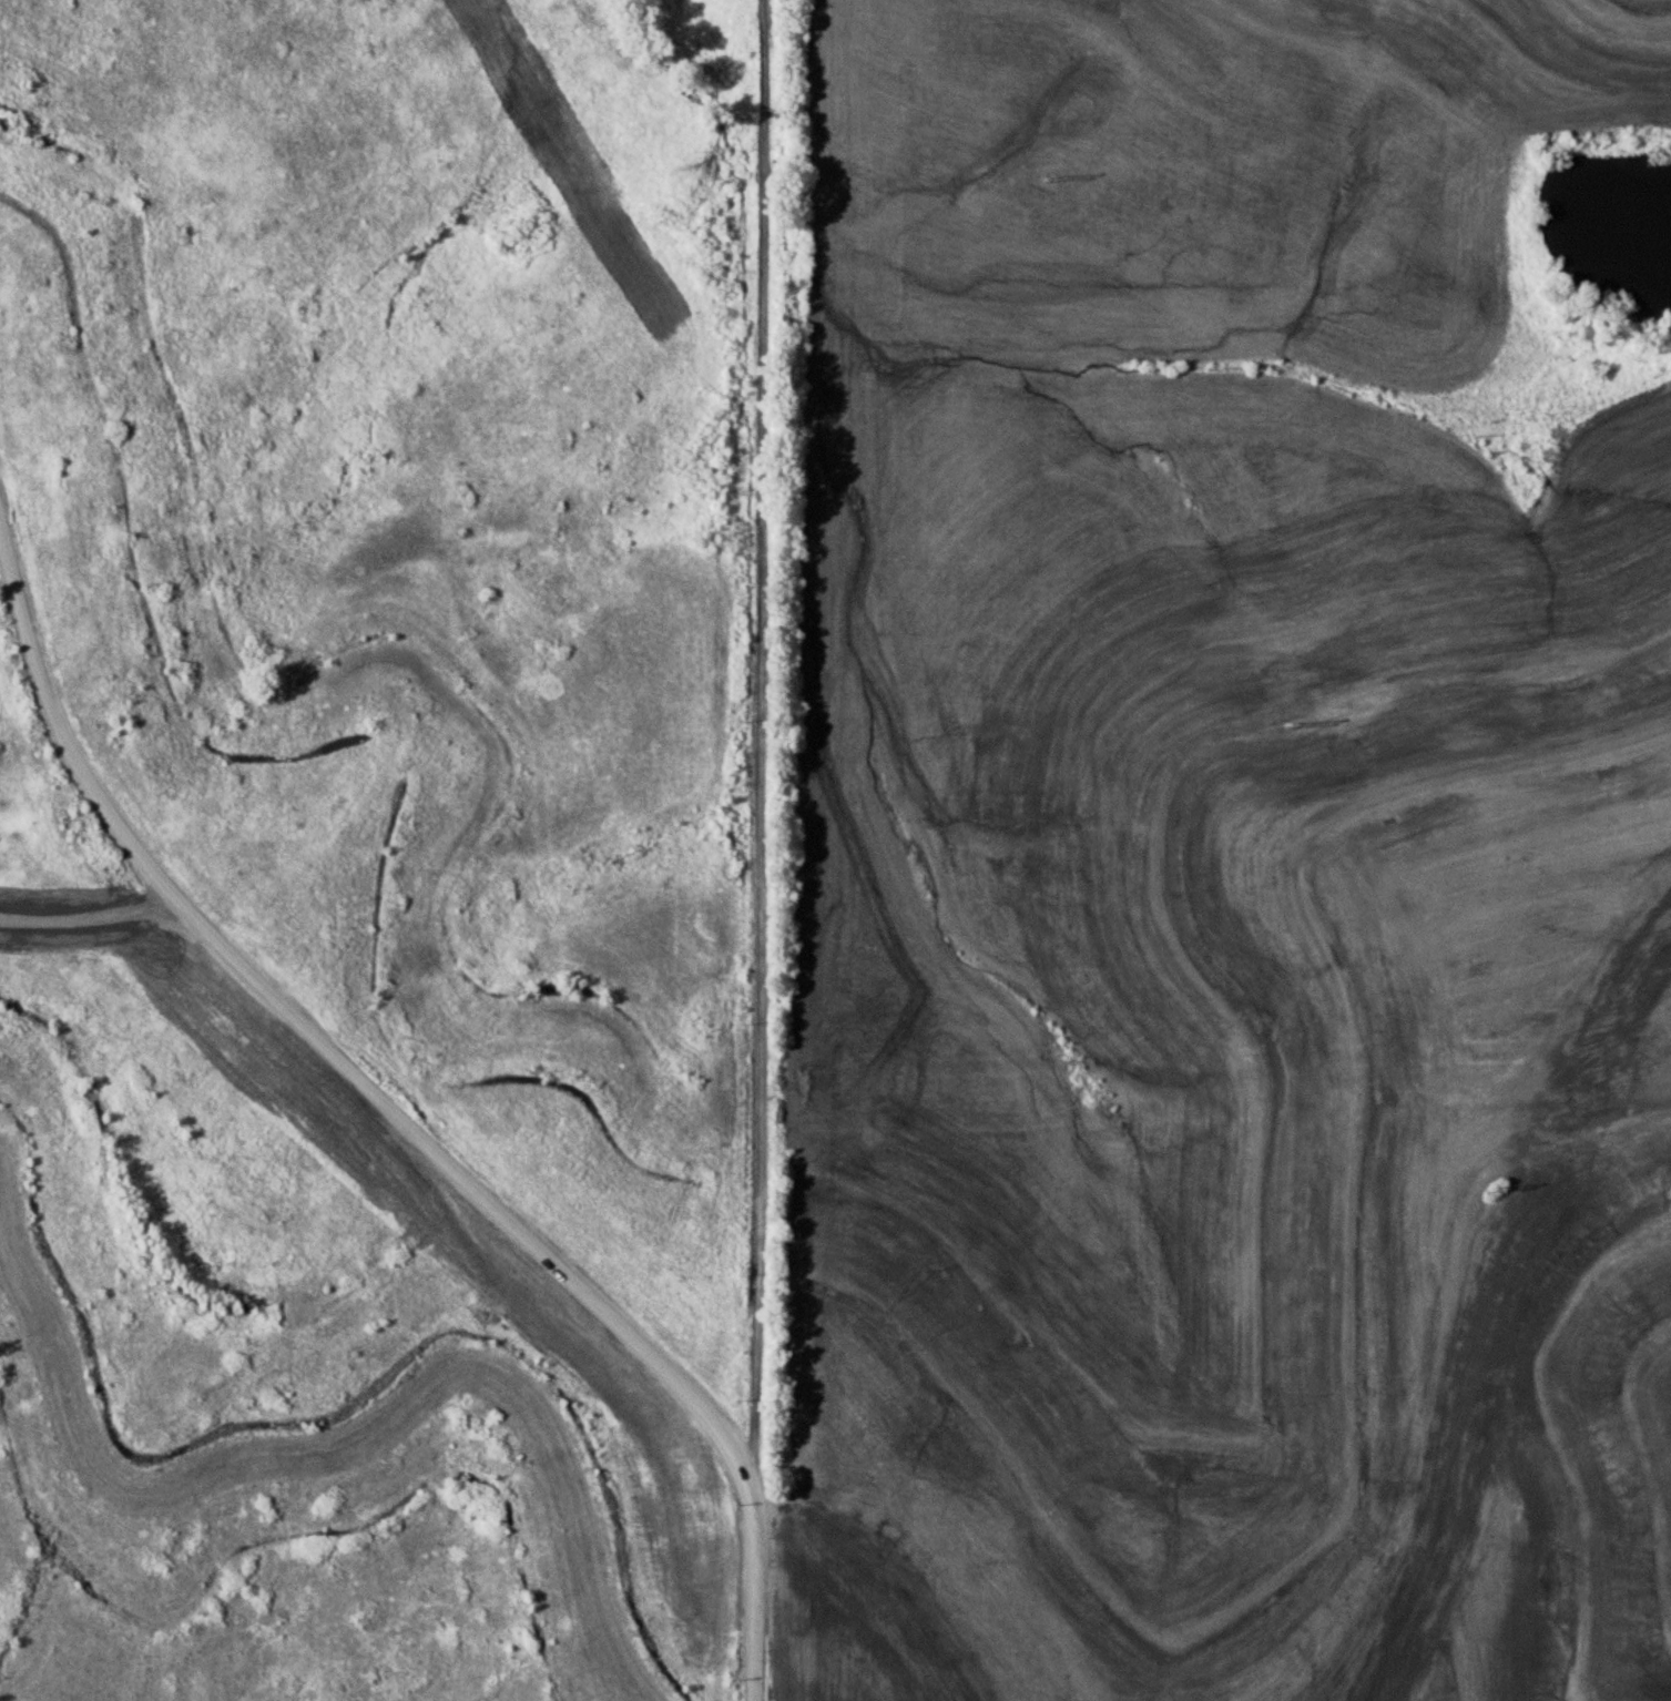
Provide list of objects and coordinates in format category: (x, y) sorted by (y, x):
road: (763, 746)
road: (398, 1119)

